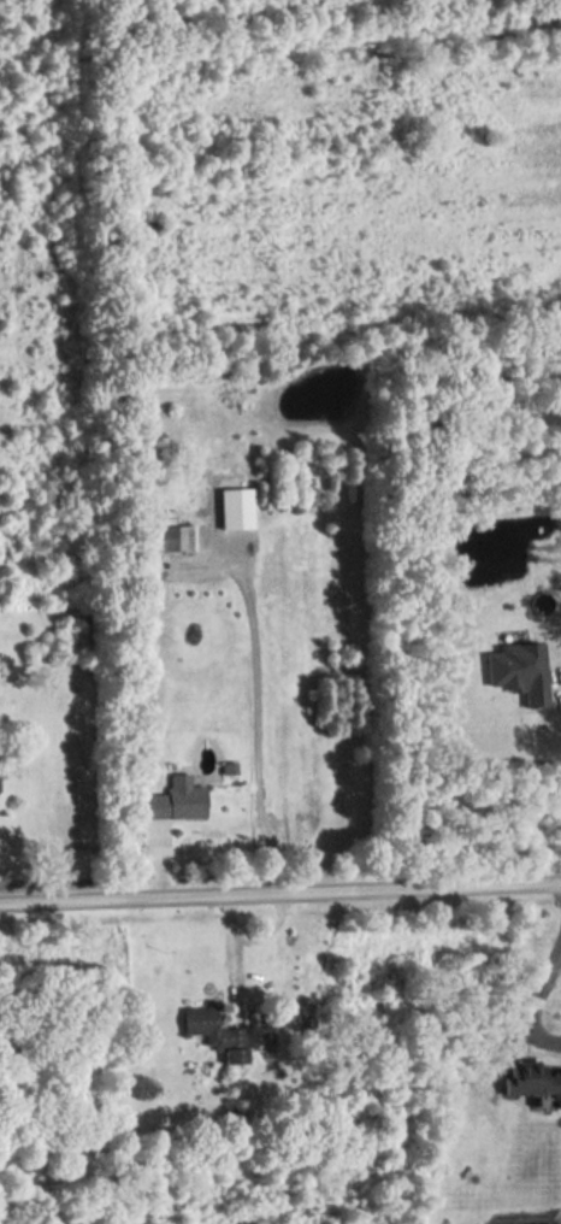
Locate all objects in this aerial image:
building: (172, 534)
building: (176, 802)
road: (279, 895)
road: (249, 942)
road: (535, 1000)
building: (215, 1034)
building: (532, 1083)

